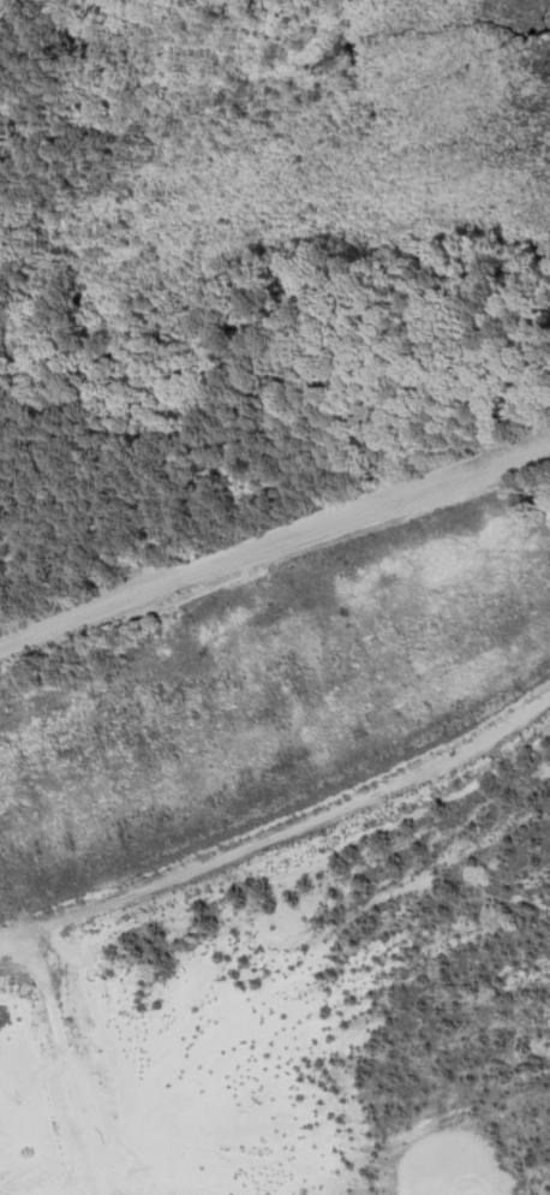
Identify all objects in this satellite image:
road: (276, 547)

